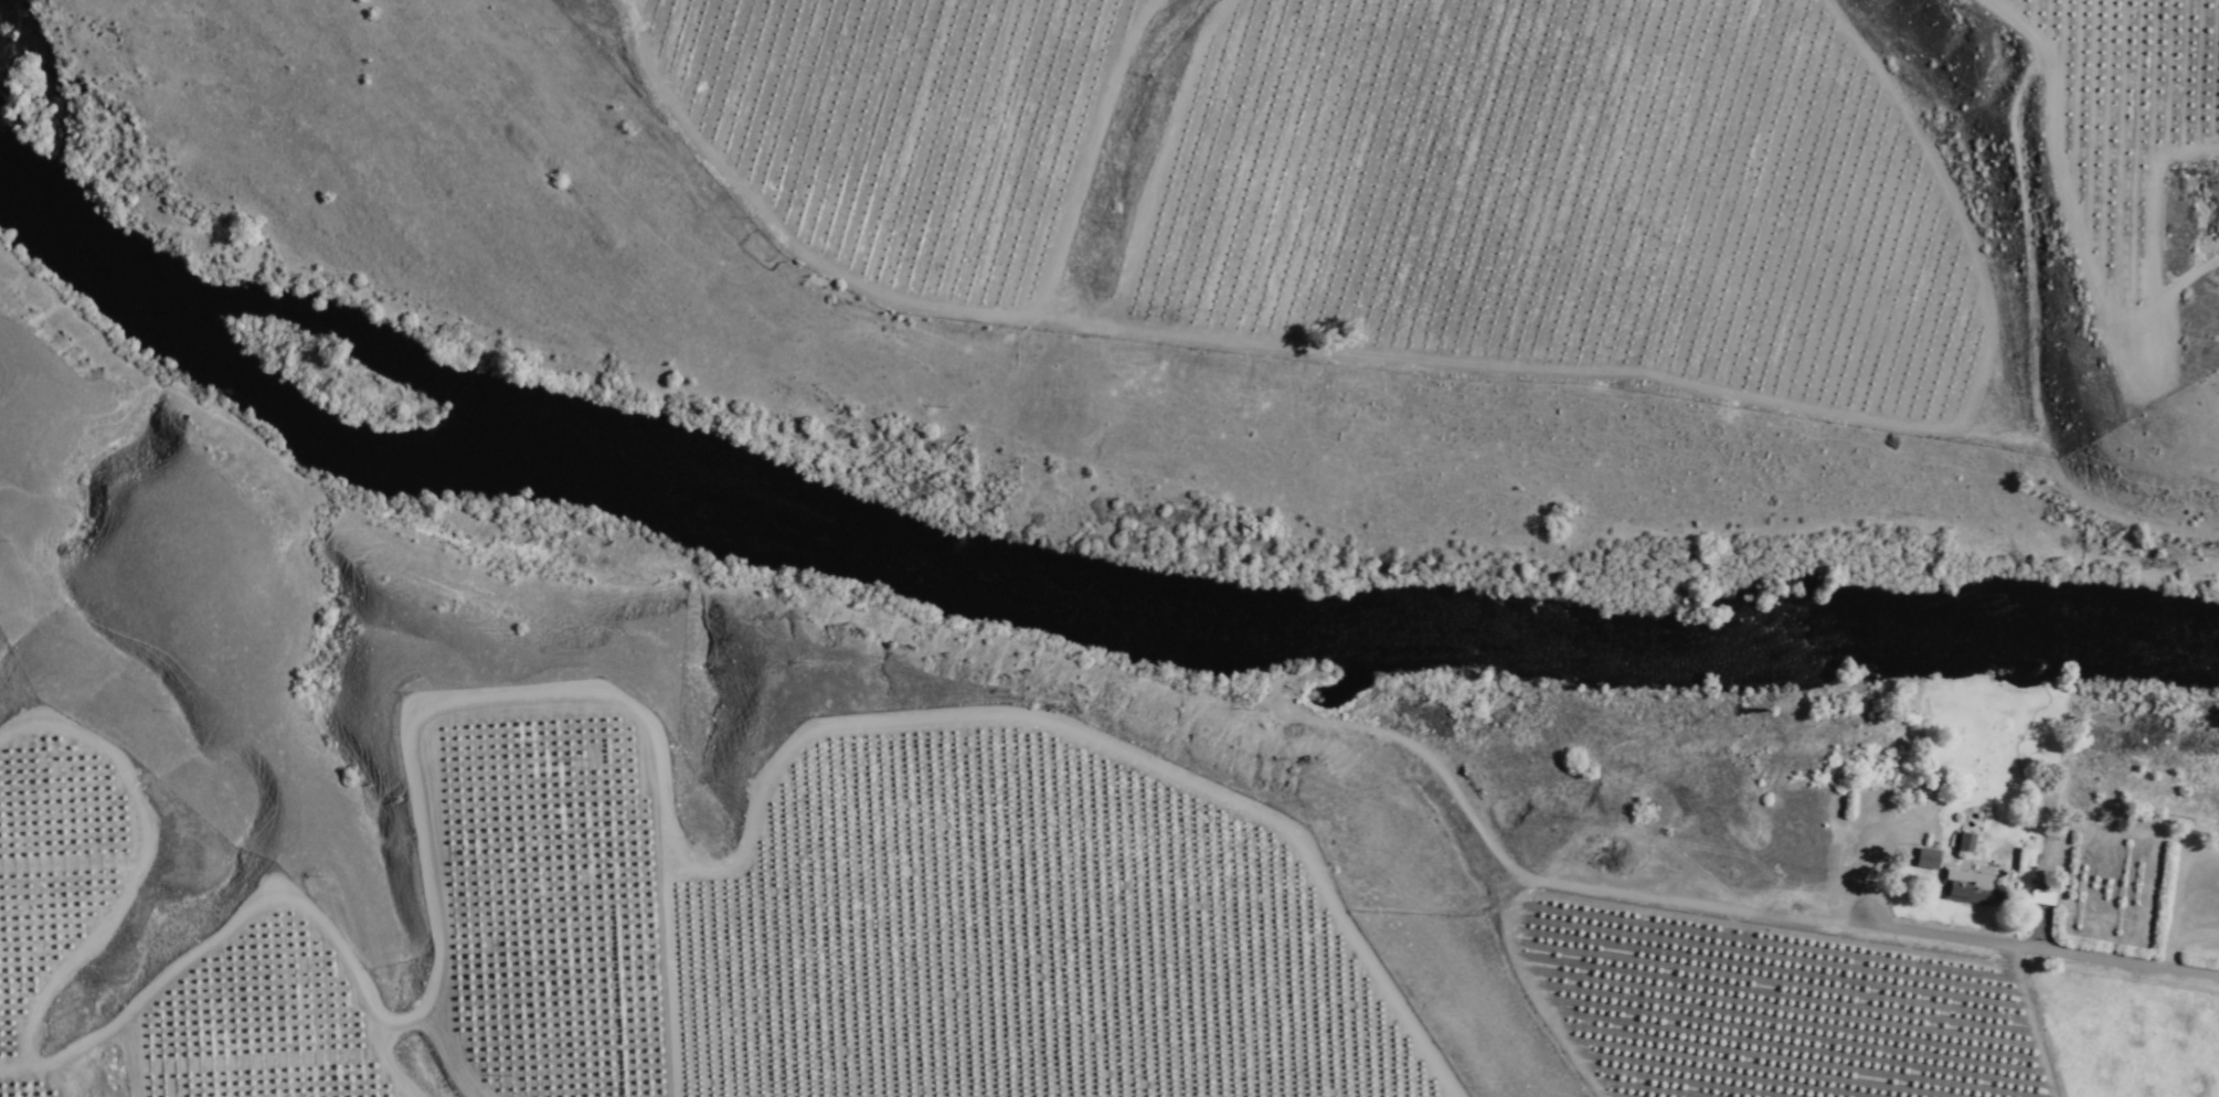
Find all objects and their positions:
crop: (1500, 179)
road: (1950, 322)
park: (113, 417)
river: (455, 439)
crop: (1172, 499)
crop: (1486, 508)
crop: (2109, 516)
river: (1604, 668)
building: (1909, 842)
building: (1967, 850)
building: (1926, 861)
building: (1967, 891)
building: (2040, 897)
road: (2090, 959)
crop: (1839, 1013)

